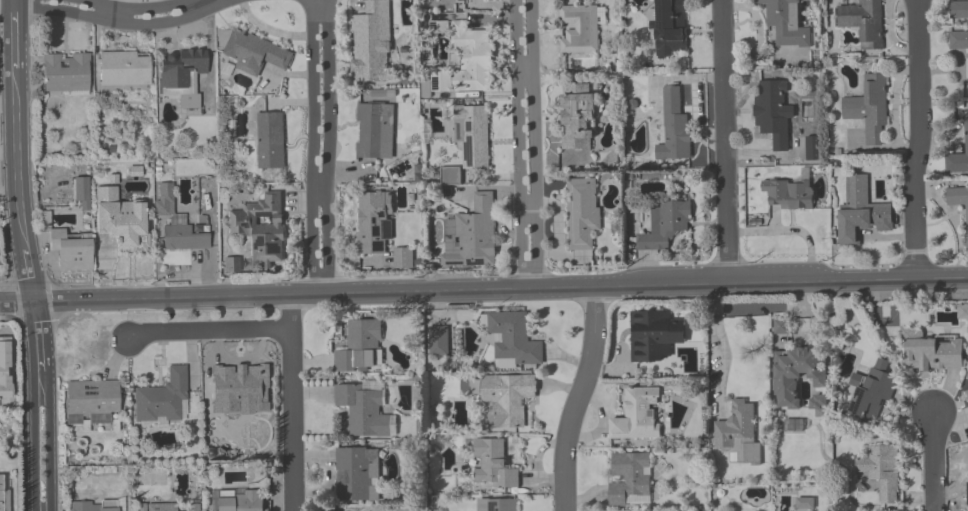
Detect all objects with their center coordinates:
road: (135, 8)
road: (319, 10)
building: (958, 10)
road: (318, 21)
building: (862, 22)
building: (786, 23)
road: (122, 24)
building: (580, 28)
building: (668, 28)
building: (958, 41)
building: (371, 43)
building: (255, 52)
building: (471, 59)
building: (607, 64)
building: (125, 69)
road: (524, 69)
building: (66, 73)
building: (182, 76)
road: (7, 101)
building: (869, 109)
building: (774, 112)
building: (578, 118)
building: (674, 128)
building: (375, 131)
building: (472, 135)
road: (918, 140)
building: (270, 141)
road: (723, 141)
road: (518, 143)
road: (532, 143)
building: (958, 157)
road: (16, 191)
building: (788, 194)
building: (958, 203)
road: (526, 211)
building: (582, 212)
building: (861, 212)
building: (121, 219)
building: (374, 222)
building: (664, 226)
building: (262, 227)
building: (178, 228)
road: (789, 233)
building: (473, 236)
building: (71, 251)
building: (403, 259)
building: (232, 265)
road: (483, 289)
building: (963, 313)
road: (8, 317)
building: (780, 326)
road: (211, 334)
building: (649, 336)
building: (514, 338)
building: (438, 341)
building: (361, 346)
road: (724, 346)
building: (930, 351)
building: (5, 368)
building: (797, 374)
building: (967, 377)
building: (238, 387)
building: (873, 392)
building: (966, 394)
building: (93, 397)
building: (507, 398)
building: (164, 399)
road: (577, 399)
road: (292, 402)
building: (362, 409)
road: (22, 414)
building: (638, 415)
building: (738, 434)
road: (48, 444)
road: (34, 446)
road: (932, 462)
building: (491, 463)
building: (882, 470)
building: (356, 475)
building: (628, 477)
building: (966, 492)
building: (4, 493)
building: (241, 501)
building: (496, 504)
building: (89, 506)
building: (173, 507)

